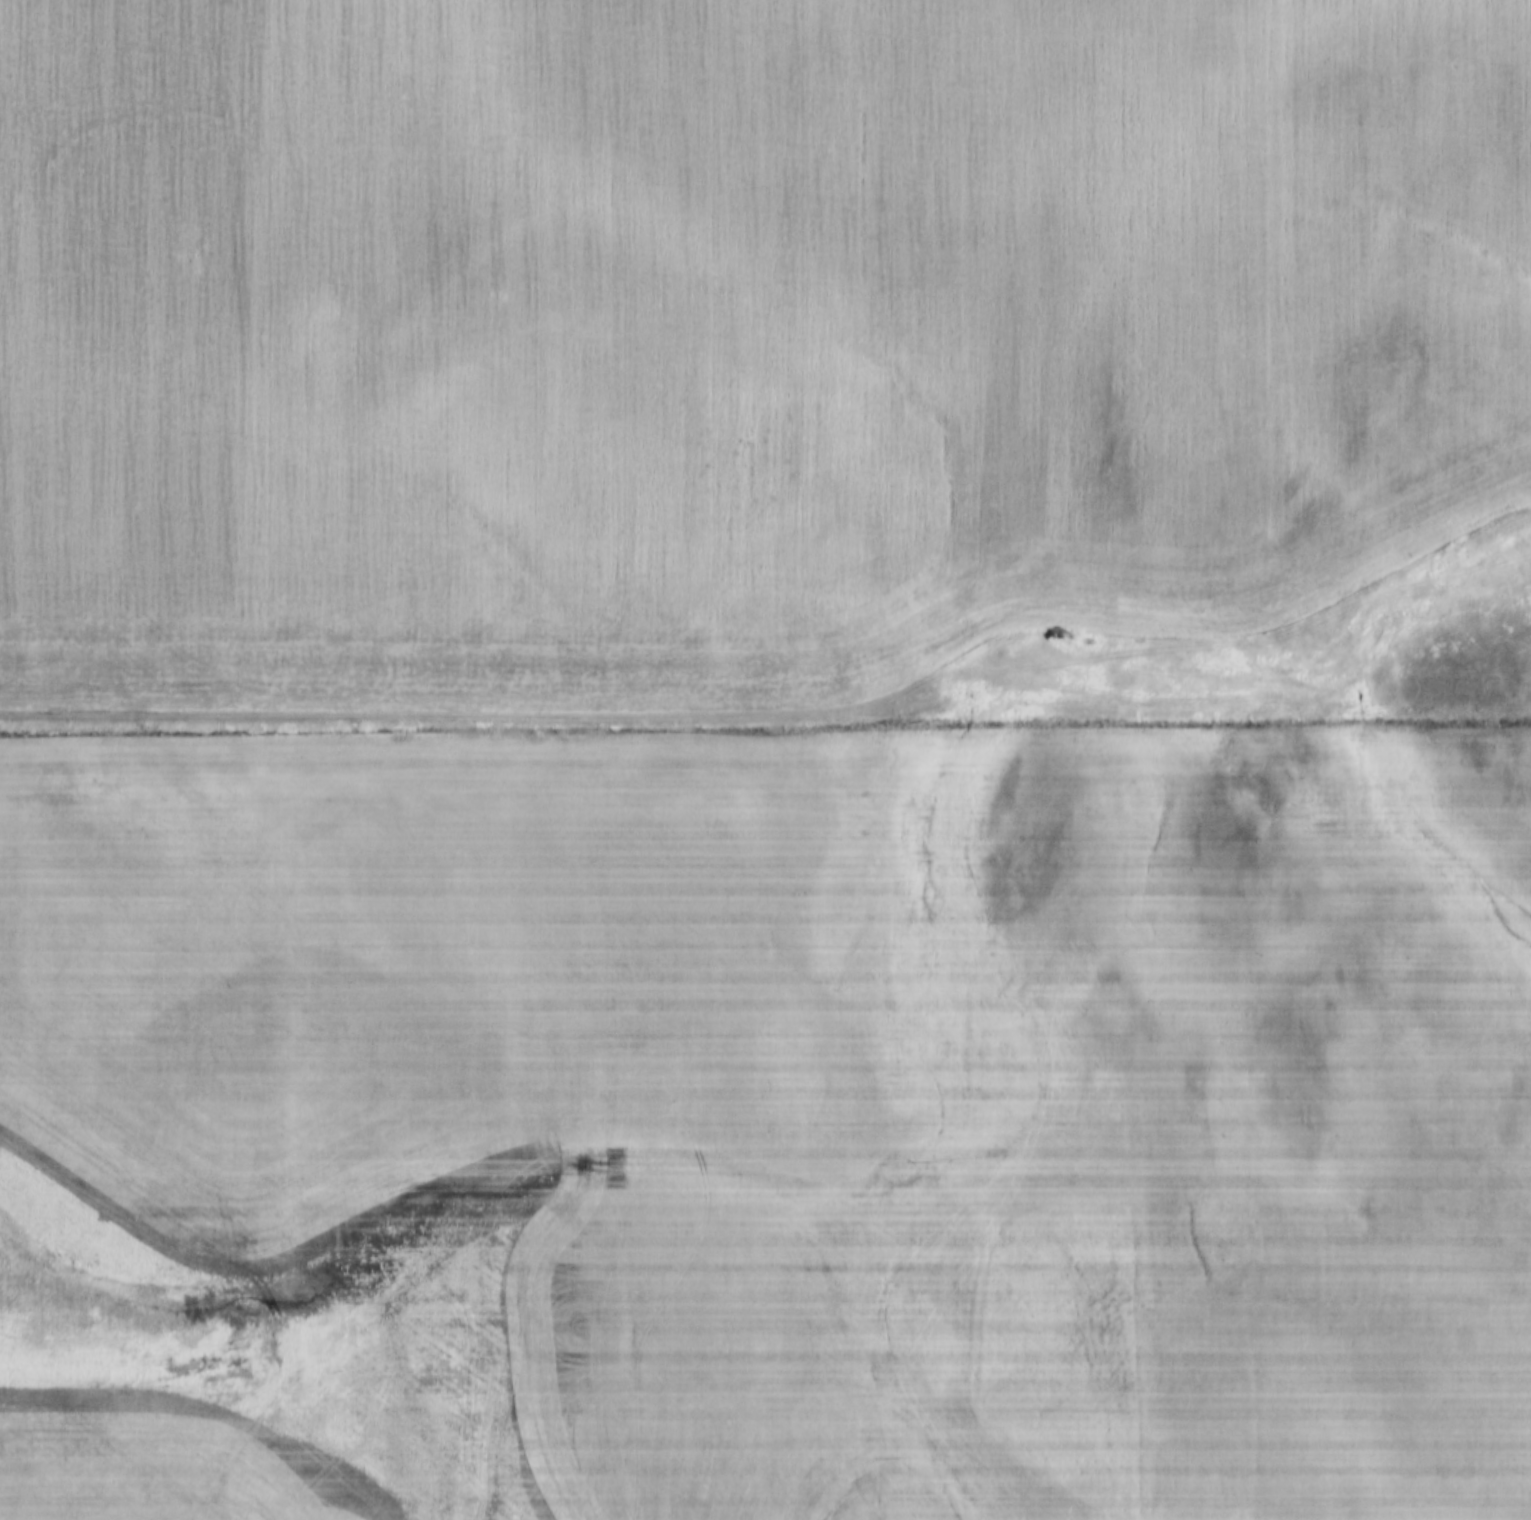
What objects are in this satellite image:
road: (770, 714)

